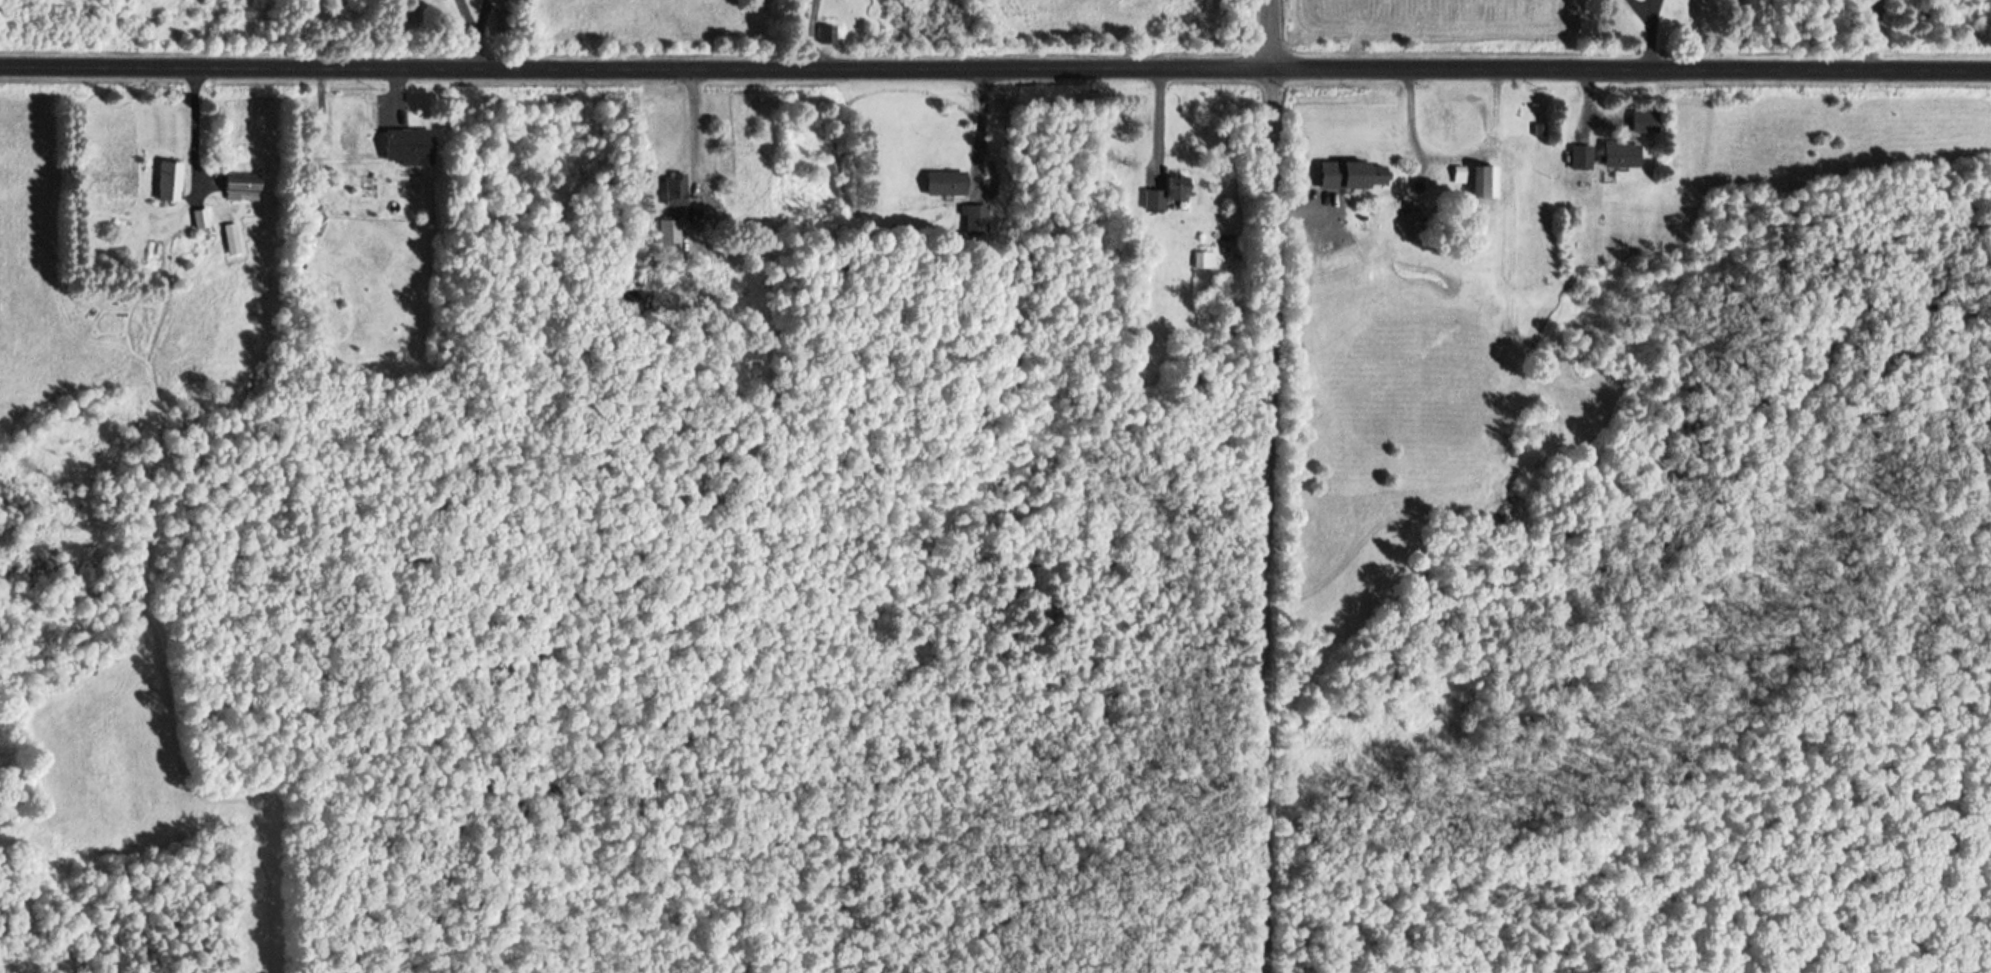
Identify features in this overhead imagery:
building: (822, 35)
road: (995, 66)
building: (399, 147)
building: (1619, 155)
building: (1582, 158)
building: (160, 182)
building: (1485, 182)
building: (941, 184)
building: (667, 189)
building: (307, 217)
building: (669, 232)
building: (224, 239)
building: (1202, 259)
road: (1279, 486)

